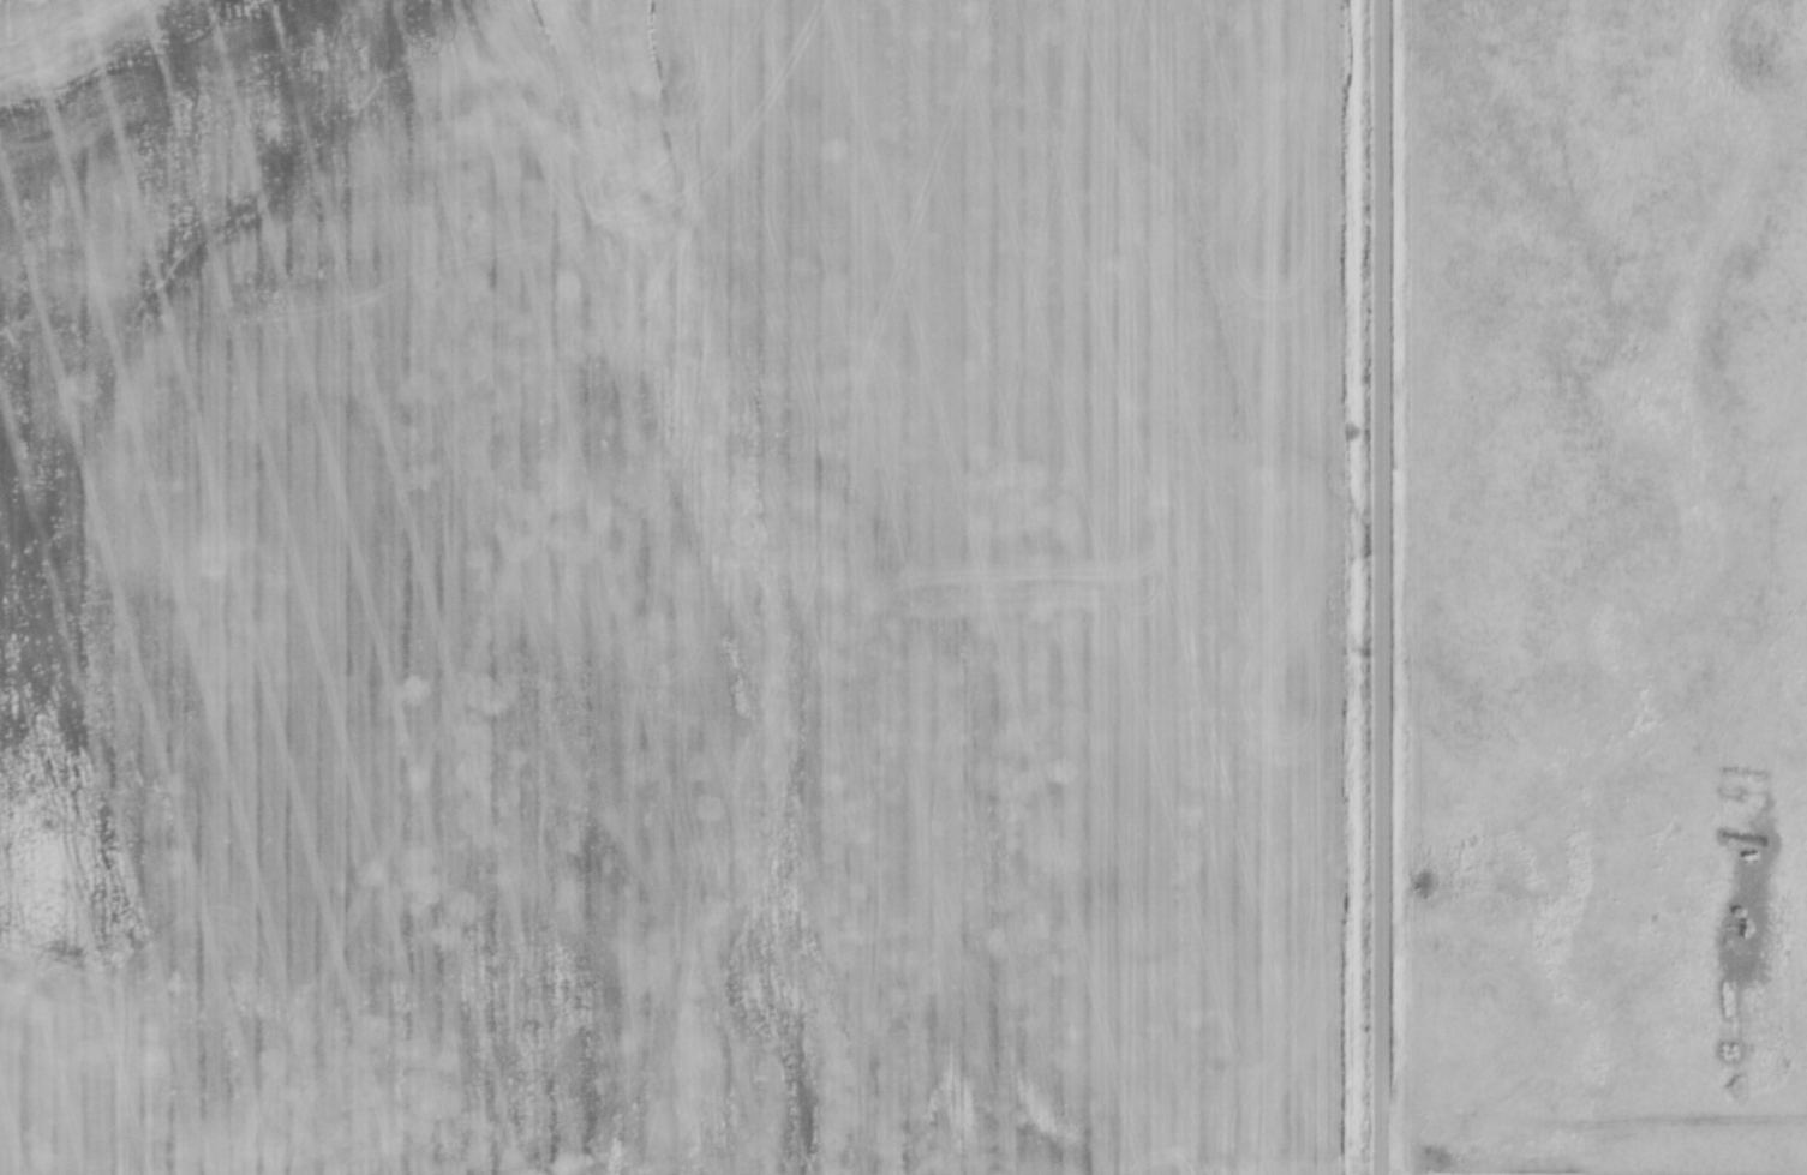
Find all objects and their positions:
road: (1375, 587)

